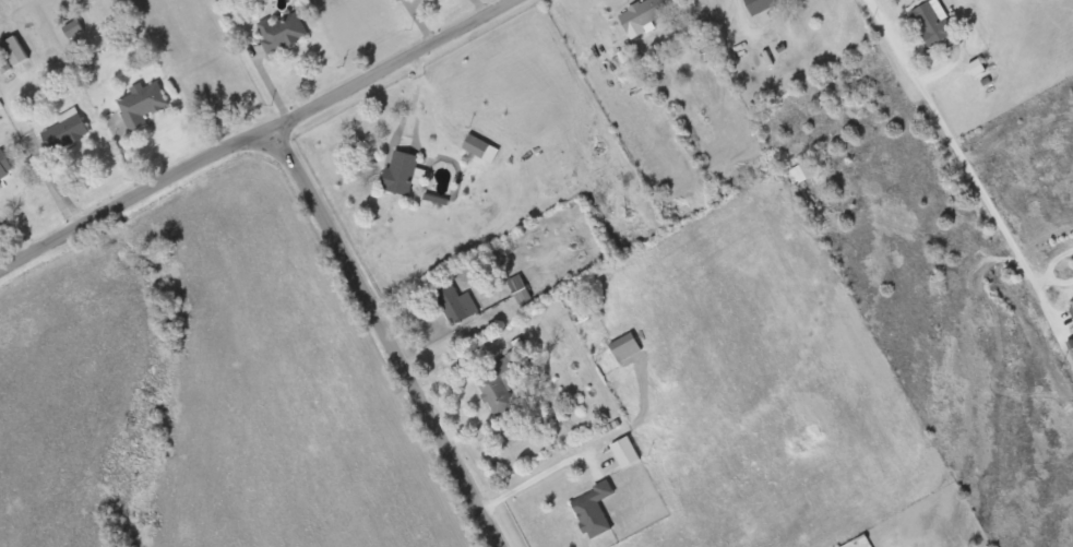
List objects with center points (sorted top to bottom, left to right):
building: (761, 5)
building: (647, 12)
building: (935, 24)
building: (73, 27)
building: (283, 31)
building: (14, 49)
building: (142, 105)
building: (67, 129)
road: (260, 138)
building: (480, 147)
road: (964, 165)
building: (5, 167)
building: (803, 170)
building: (401, 171)
building: (520, 288)
building: (456, 304)
building: (1072, 308)
road: (392, 338)
building: (624, 346)
building: (497, 391)
building: (625, 452)
building: (594, 510)

